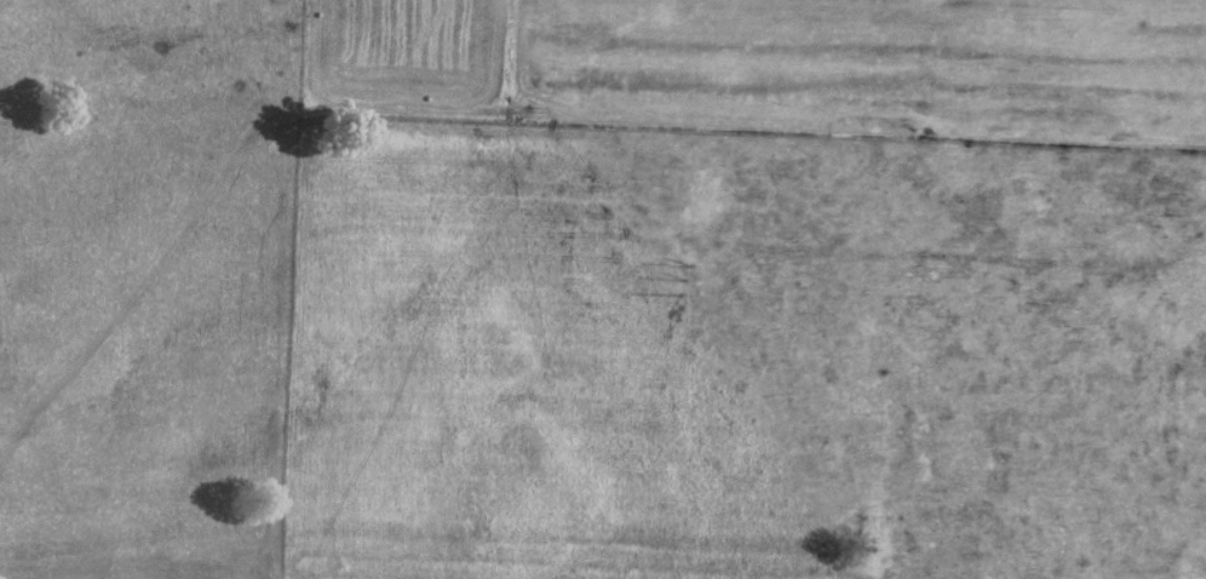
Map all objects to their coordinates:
power tower: (684, 275)

